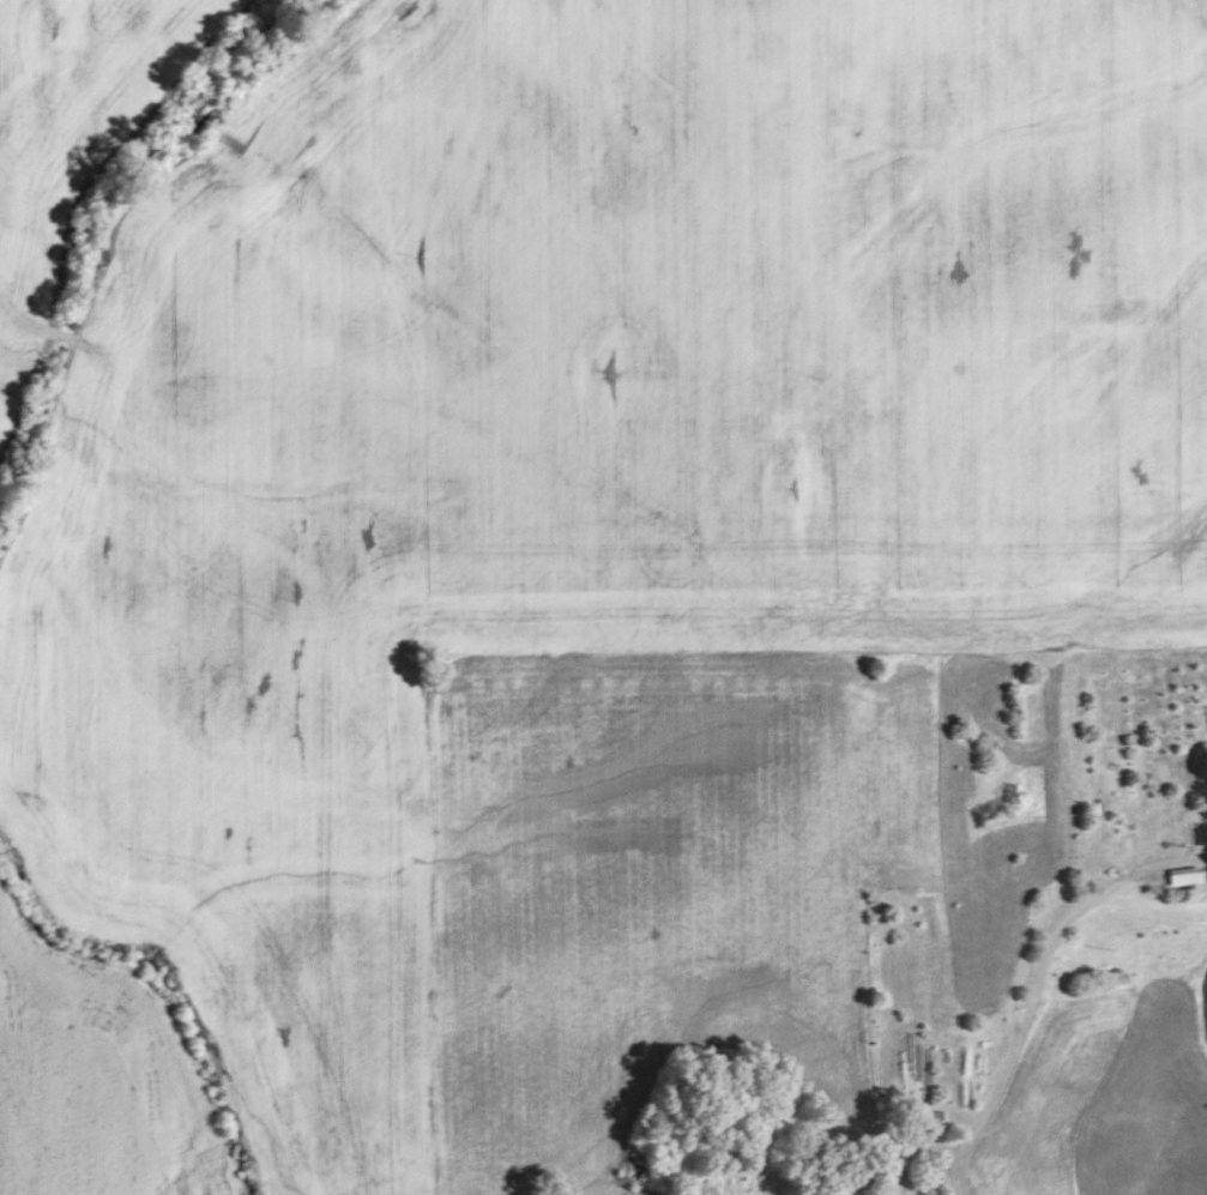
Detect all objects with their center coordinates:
crop: (77, 120)
crop: (542, 484)
building: (1201, 834)
building: (1184, 875)
road: (1019, 1025)
building: (937, 1122)

